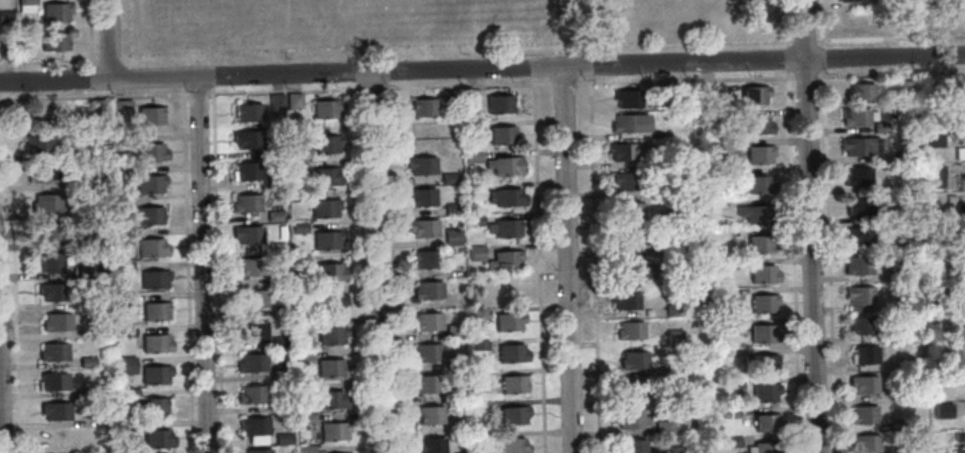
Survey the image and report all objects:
building: (851, 1)
building: (26, 2)
building: (25, 9)
building: (56, 12)
building: (6, 17)
building: (851, 21)
road: (821, 22)
road: (786, 23)
road: (585, 24)
park: (336, 28)
road: (889, 37)
road: (90, 40)
road: (108, 40)
road: (803, 40)
building: (54, 41)
road: (689, 43)
building: (6, 50)
building: (22, 50)
road: (586, 51)
road: (822, 57)
road: (109, 58)
road: (49, 60)
road: (124, 60)
road: (586, 64)
road: (482, 69)
road: (534, 72)
road: (891, 73)
road: (128, 75)
road: (806, 75)
road: (389, 76)
road: (684, 79)
road: (563, 83)
road: (467, 85)
building: (904, 87)
road: (372, 88)
road: (129, 90)
road: (283, 90)
building: (677, 92)
building: (705, 92)
building: (859, 92)
road: (196, 93)
road: (93, 95)
building: (754, 95)
building: (449, 98)
building: (470, 98)
building: (627, 98)
building: (293, 101)
building: (275, 102)
building: (499, 103)
building: (121, 107)
building: (423, 107)
building: (97, 108)
building: (325, 109)
building: (952, 109)
building: (248, 113)
building: (151, 115)
building: (858, 117)
building: (48, 118)
building: (629, 123)
building: (757, 125)
building: (472, 127)
building: (296, 132)
building: (503, 136)
building: (247, 139)
building: (122, 140)
building: (934, 140)
building: (38, 144)
building: (724, 144)
building: (325, 145)
building: (860, 146)
building: (274, 152)
building: (622, 152)
building: (151, 153)
building: (959, 153)
building: (67, 154)
building: (759, 155)
building: (905, 155)
building: (473, 158)
building: (654, 162)
building: (297, 165)
building: (421, 165)
building: (504, 166)
building: (246, 172)
building: (42, 174)
building: (723, 174)
building: (935, 176)
building: (325, 177)
building: (857, 177)
building: (449, 178)
building: (625, 181)
building: (964, 181)
building: (149, 183)
building: (274, 183)
building: (755, 185)
building: (671, 190)
building: (298, 196)
building: (509, 197)
building: (422, 198)
building: (950, 198)
building: (46, 203)
building: (246, 204)
building: (123, 205)
building: (860, 206)
building: (325, 208)
building: (451, 208)
building: (631, 212)
building: (754, 214)
building: (149, 216)
building: (275, 216)
building: (679, 217)
building: (476, 220)
road: (809, 226)
building: (299, 228)
building: (423, 228)
building: (504, 228)
building: (953, 228)
building: (49, 232)
building: (248, 235)
building: (861, 236)
building: (452, 237)
building: (123, 238)
building: (327, 240)
building: (91, 242)
building: (632, 242)
building: (760, 244)
building: (899, 246)
building: (276, 248)
building: (152, 249)
building: (678, 249)
road: (793, 250)
building: (459, 251)
building: (476, 253)
building: (425, 260)
building: (504, 260)
road: (565, 260)
building: (301, 261)
road: (829, 261)
building: (48, 262)
road: (377, 262)
road: (539, 264)
road: (593, 264)
building: (725, 264)
road: (202, 265)
building: (123, 266)
building: (858, 266)
road: (394, 267)
building: (250, 268)
road: (362, 270)
building: (91, 271)
building: (903, 271)
road: (216, 272)
building: (633, 272)
road: (187, 273)
building: (330, 273)
building: (763, 274)
building: (155, 279)
building: (278, 280)
building: (680, 281)
building: (428, 290)
building: (508, 290)
building: (53, 292)
building: (302, 292)
building: (717, 294)
building: (860, 296)
building: (252, 300)
building: (625, 301)
building: (125, 302)
building: (764, 302)
building: (328, 304)
building: (278, 310)
building: (672, 310)
building: (157, 312)
road: (16, 315)
building: (478, 316)
building: (956, 317)
building: (57, 322)
building: (428, 322)
building: (508, 322)
building: (722, 325)
building: (863, 326)
building: (252, 330)
building: (127, 331)
building: (630, 331)
building: (97, 332)
building: (455, 332)
building: (762, 334)
building: (899, 335)
building: (331, 336)
building: (674, 338)
building: (279, 343)
building: (156, 344)
building: (479, 345)
building: (957, 348)
building: (54, 352)
building: (427, 353)
building: (512, 354)
building: (303, 355)
building: (865, 355)
building: (636, 361)
building: (88, 362)
building: (252, 363)
building: (910, 364)
building: (128, 365)
building: (760, 365)
building: (330, 368)
building: (677, 368)
building: (692, 369)
building: (283, 372)
building: (156, 375)
building: (955, 376)
building: (480, 378)
building: (52, 382)
building: (734, 383)
building: (426, 384)
building: (514, 384)
building: (863, 385)
building: (305, 388)
building: (630, 389)
building: (95, 393)
building: (764, 393)
building: (252, 395)
building: (130, 397)
building: (673, 399)
building: (331, 401)
building: (155, 407)
building: (283, 407)
building: (56, 411)
building: (942, 411)
building: (730, 412)
building: (430, 415)
building: (514, 415)
building: (864, 415)
building: (306, 419)
building: (630, 419)
building: (767, 424)
building: (898, 425)
building: (132, 426)
building: (254, 426)
building: (460, 427)
building: (663, 428)
building: (333, 431)
road: (0, 434)
building: (959, 436)
building: (257, 439)
building: (283, 439)
building: (62, 440)
building: (158, 440)
building: (733, 442)
building: (865, 443)
building: (431, 445)
building: (512, 446)
building: (632, 447)
building: (764, 448)
building: (306, 449)
building: (673, 450)
building: (902, 450)
building: (258, 451)
building: (132, 452)
building: (463, 452)

